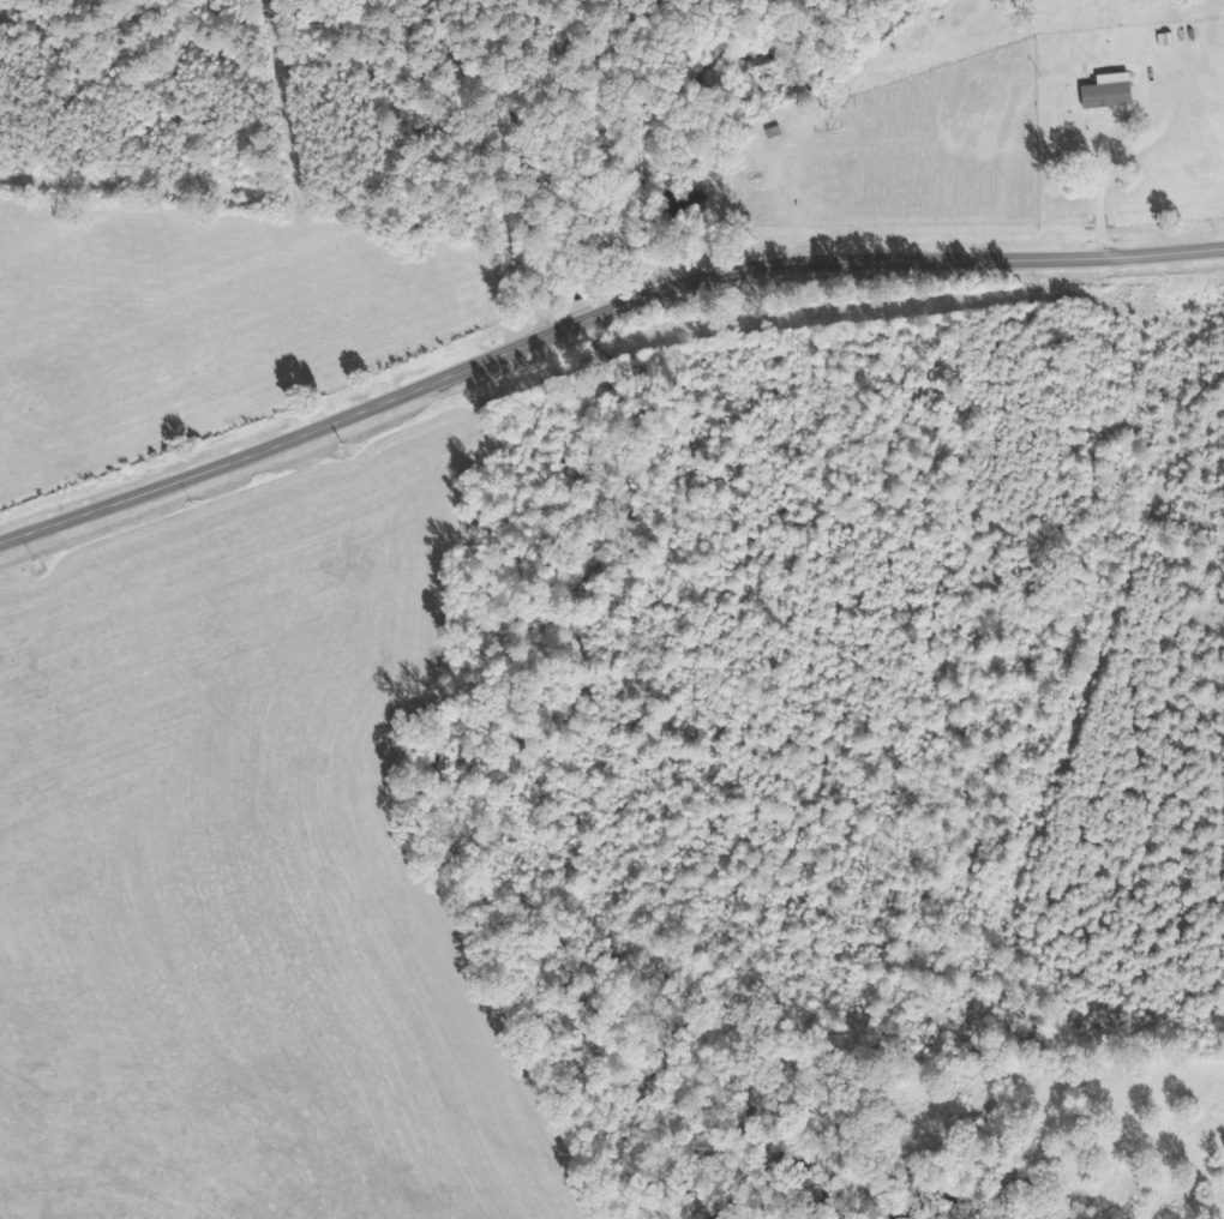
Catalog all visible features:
building: (1094, 140)
road: (595, 317)

